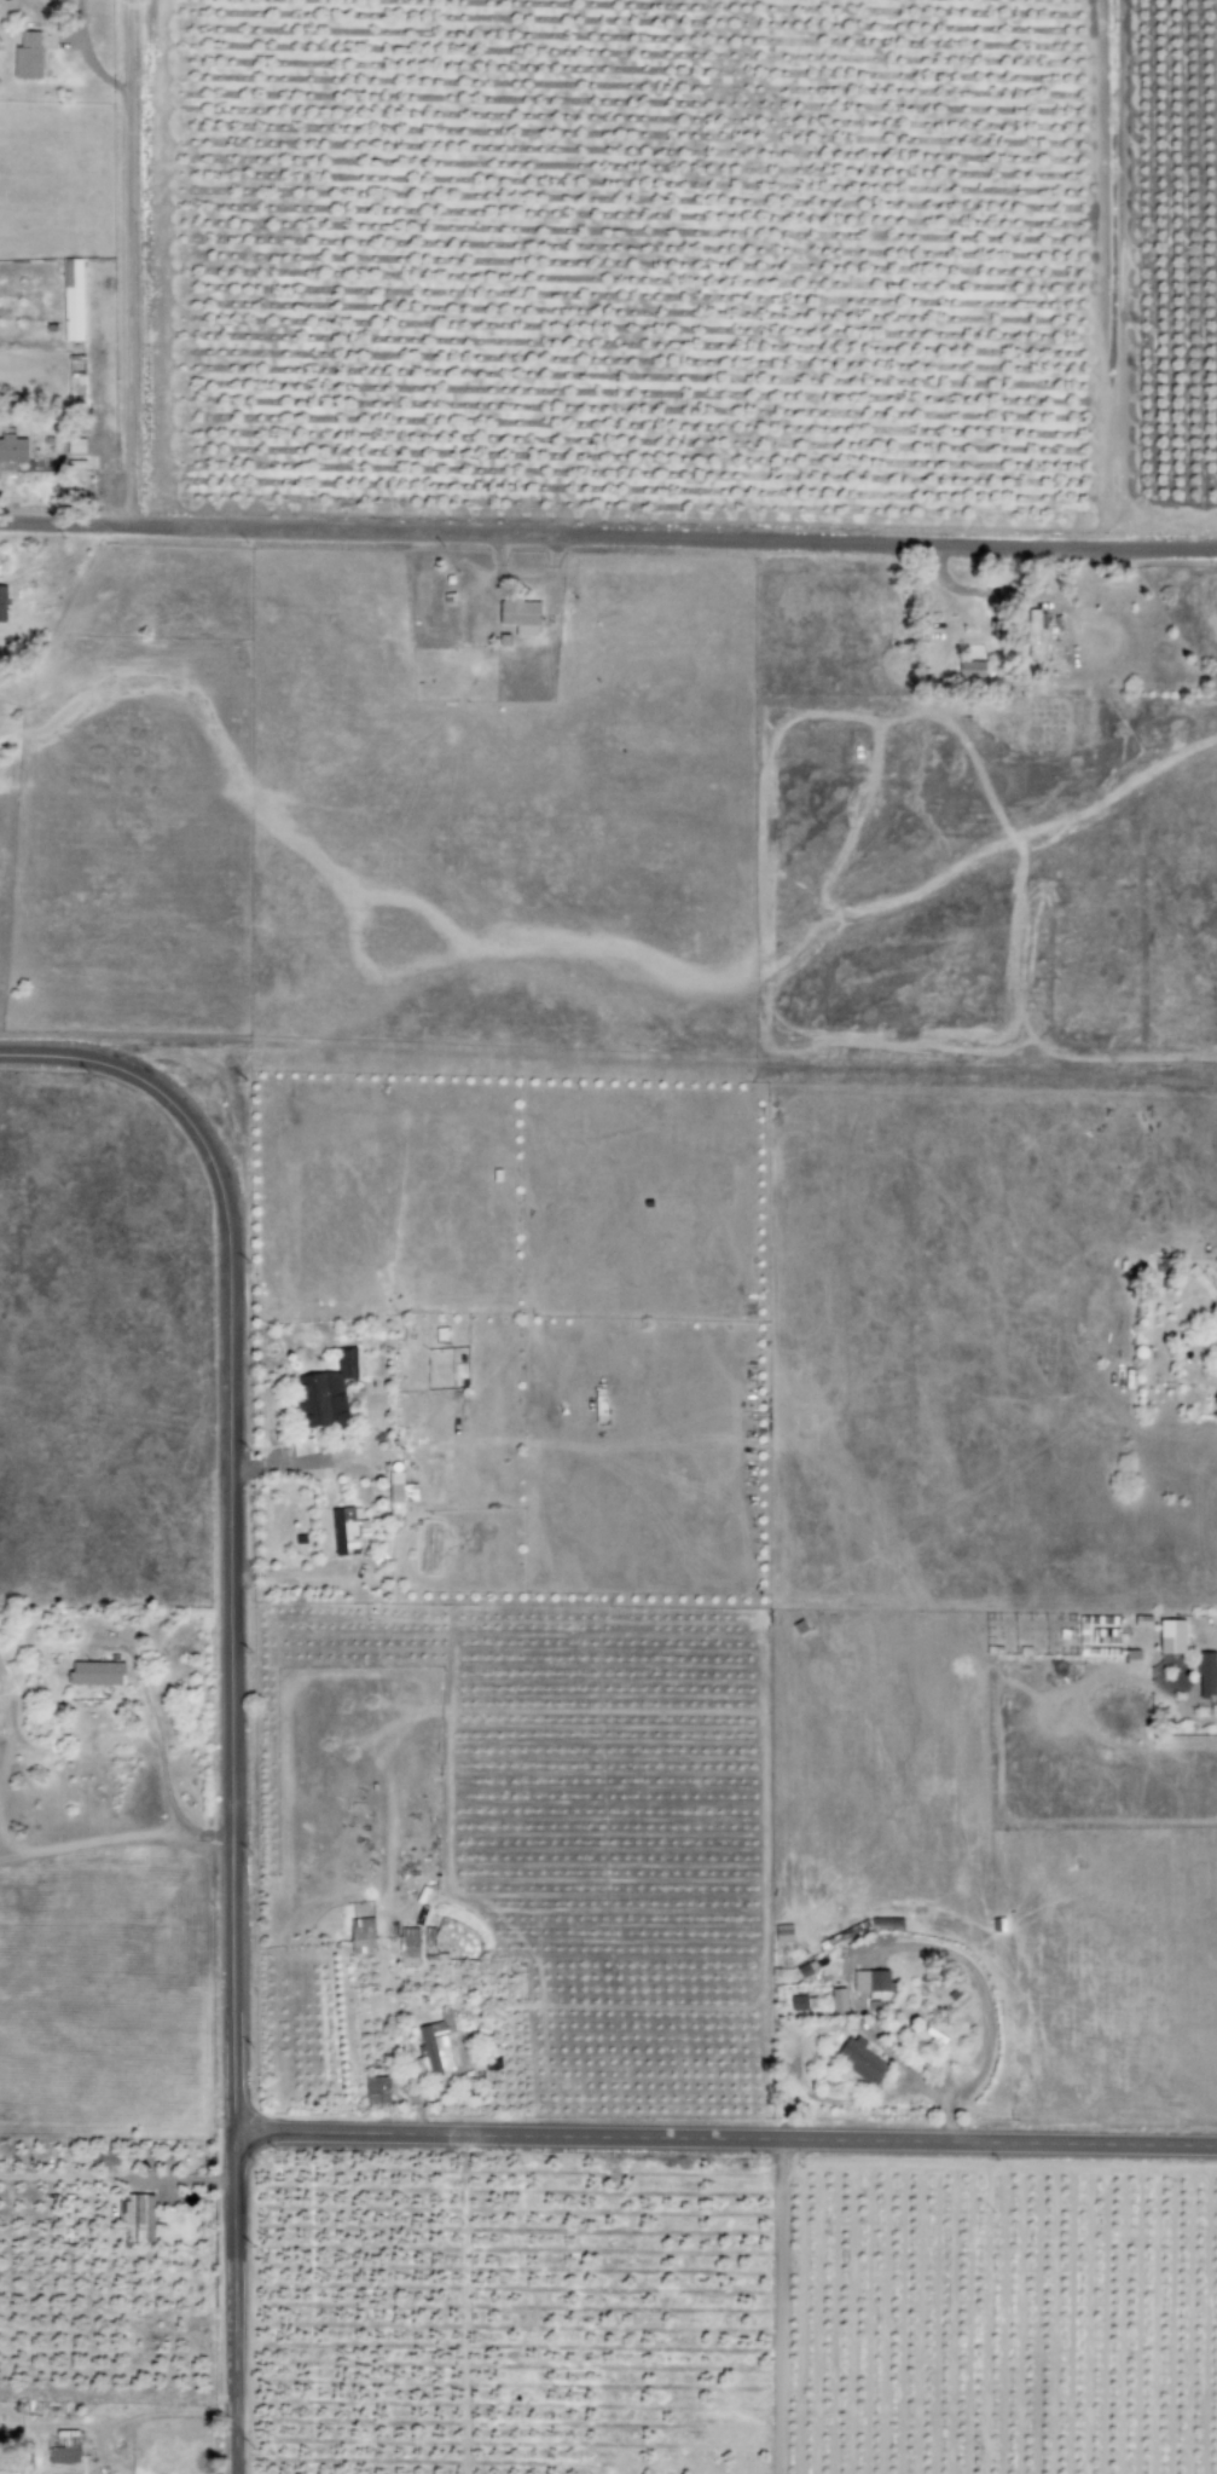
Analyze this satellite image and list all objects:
building: (28, 56)
road: (127, 261)
building: (73, 300)
building: (76, 388)
building: (13, 449)
road: (608, 534)
building: (2, 603)
building: (520, 613)
building: (972, 670)
building: (326, 1393)
building: (400, 1492)
road: (225, 1518)
building: (347, 1531)
building: (1143, 1620)
building: (1172, 1636)
building: (97, 1674)
building: (1206, 1674)
building: (783, 1932)
building: (363, 1936)
building: (407, 1947)
building: (871, 1981)
building: (958, 1996)
building: (839, 2001)
building: (799, 2004)
building: (437, 2042)
building: (862, 2062)
building: (377, 2091)
road: (724, 2139)
building: (109, 2157)
building: (139, 2218)
road: (231, 2302)
building: (64, 2449)

